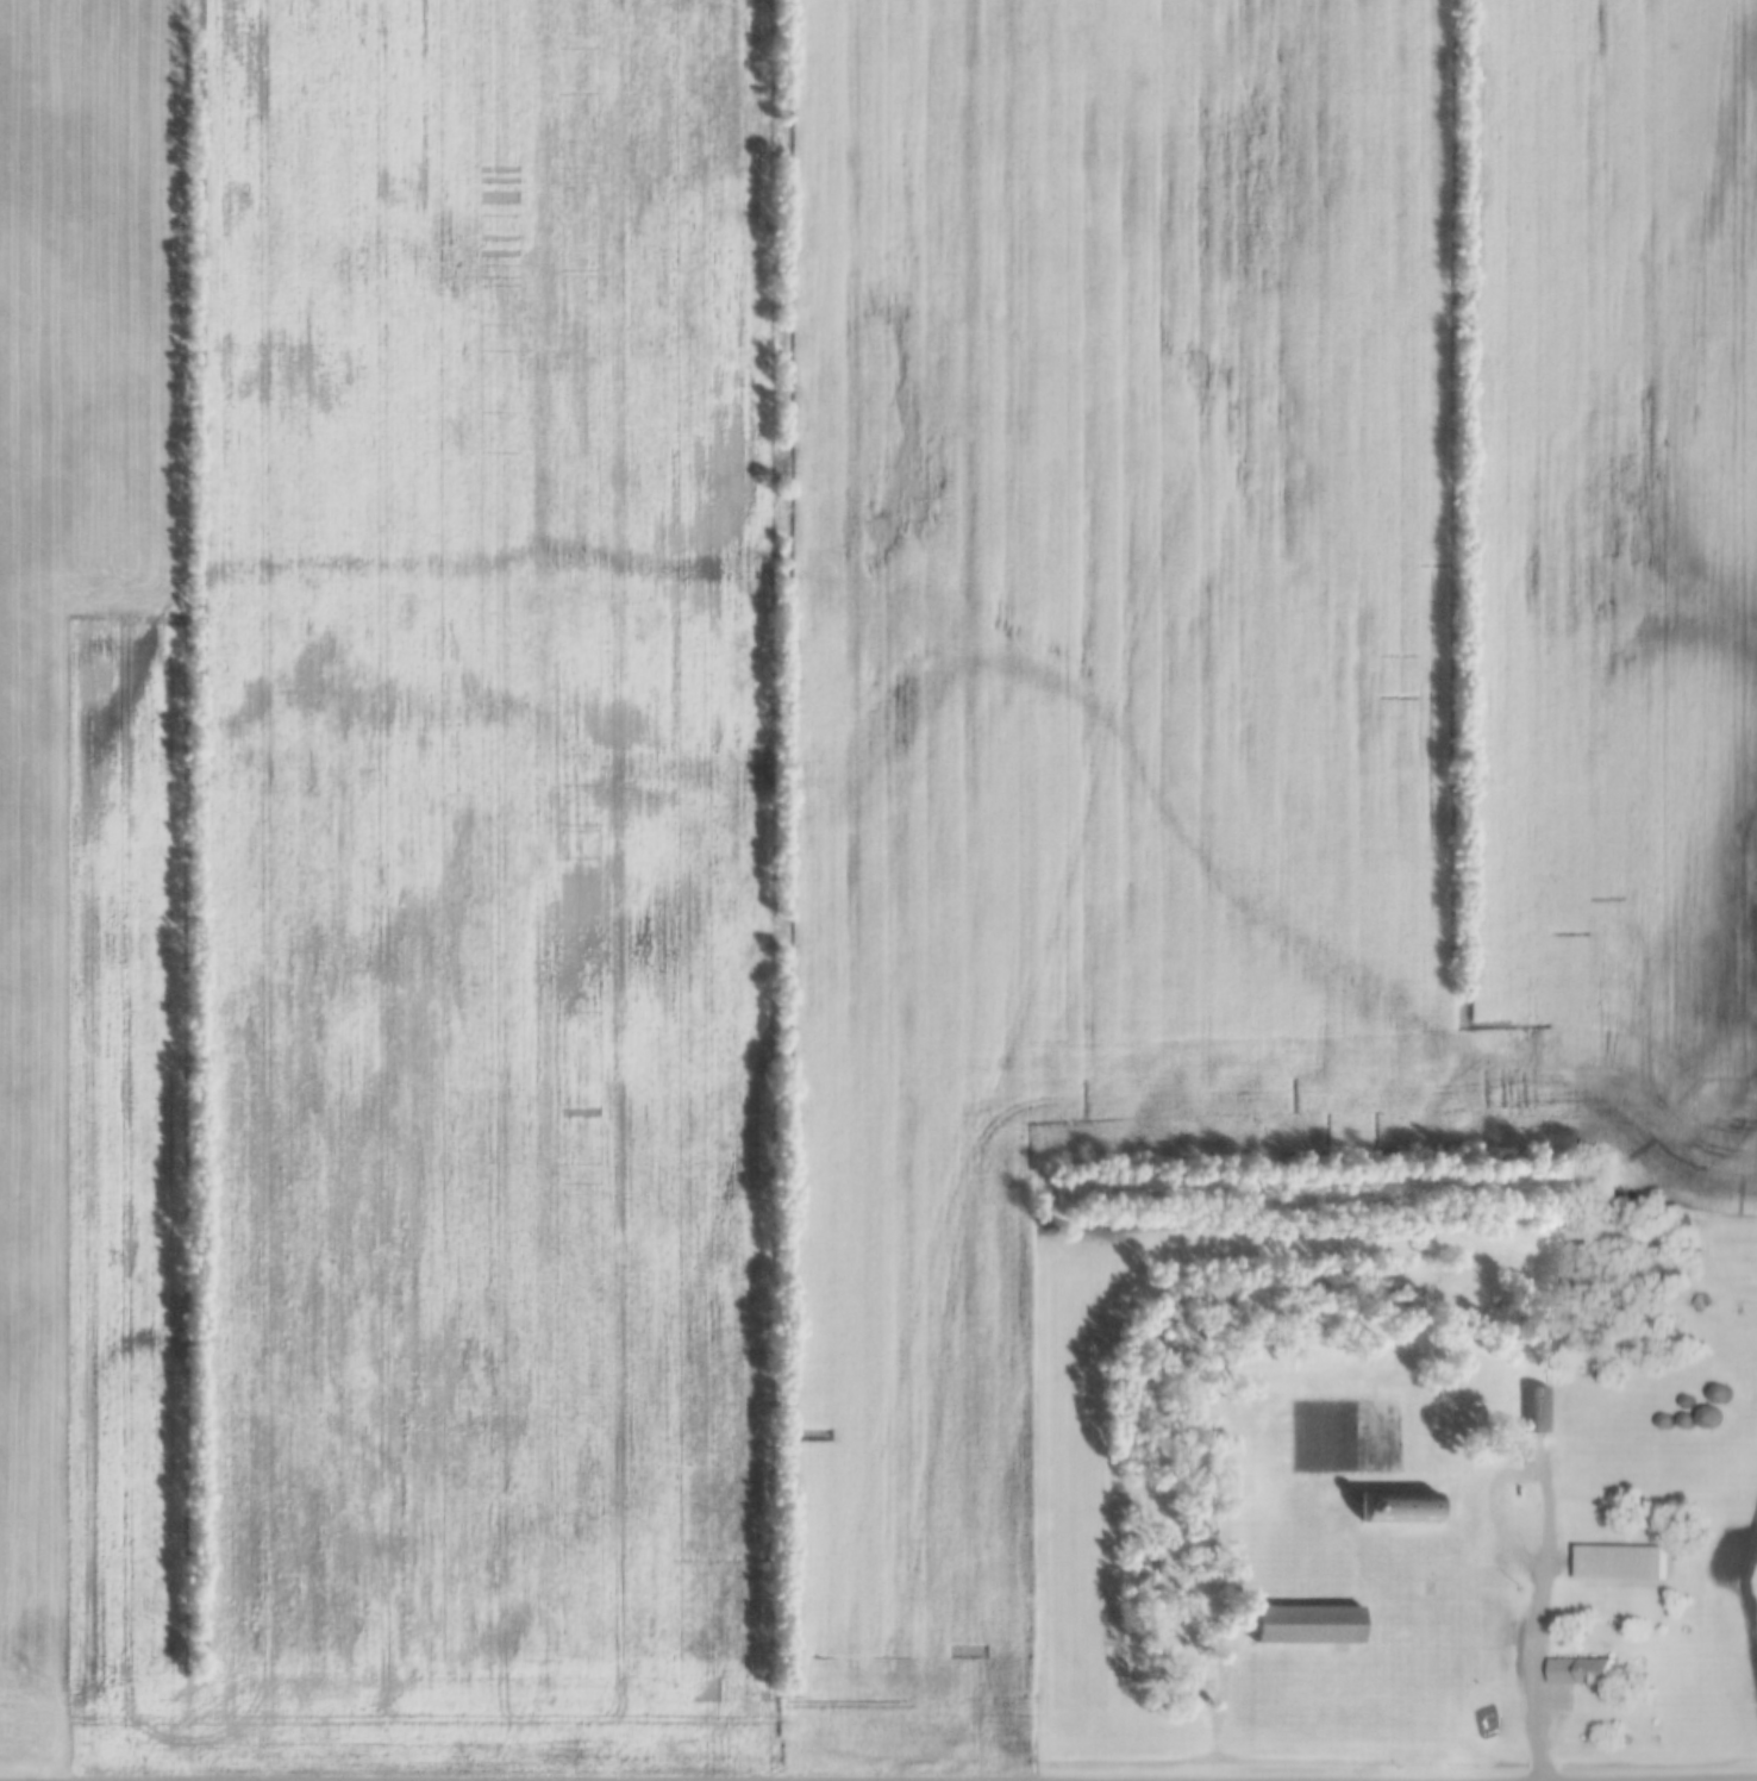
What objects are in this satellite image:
building: (1536, 1410)
building: (1711, 1417)
road: (1526, 1467)
building: (1398, 1507)
building: (1622, 1562)
building: (1307, 1624)
building: (1582, 1671)
road: (1545, 1677)

